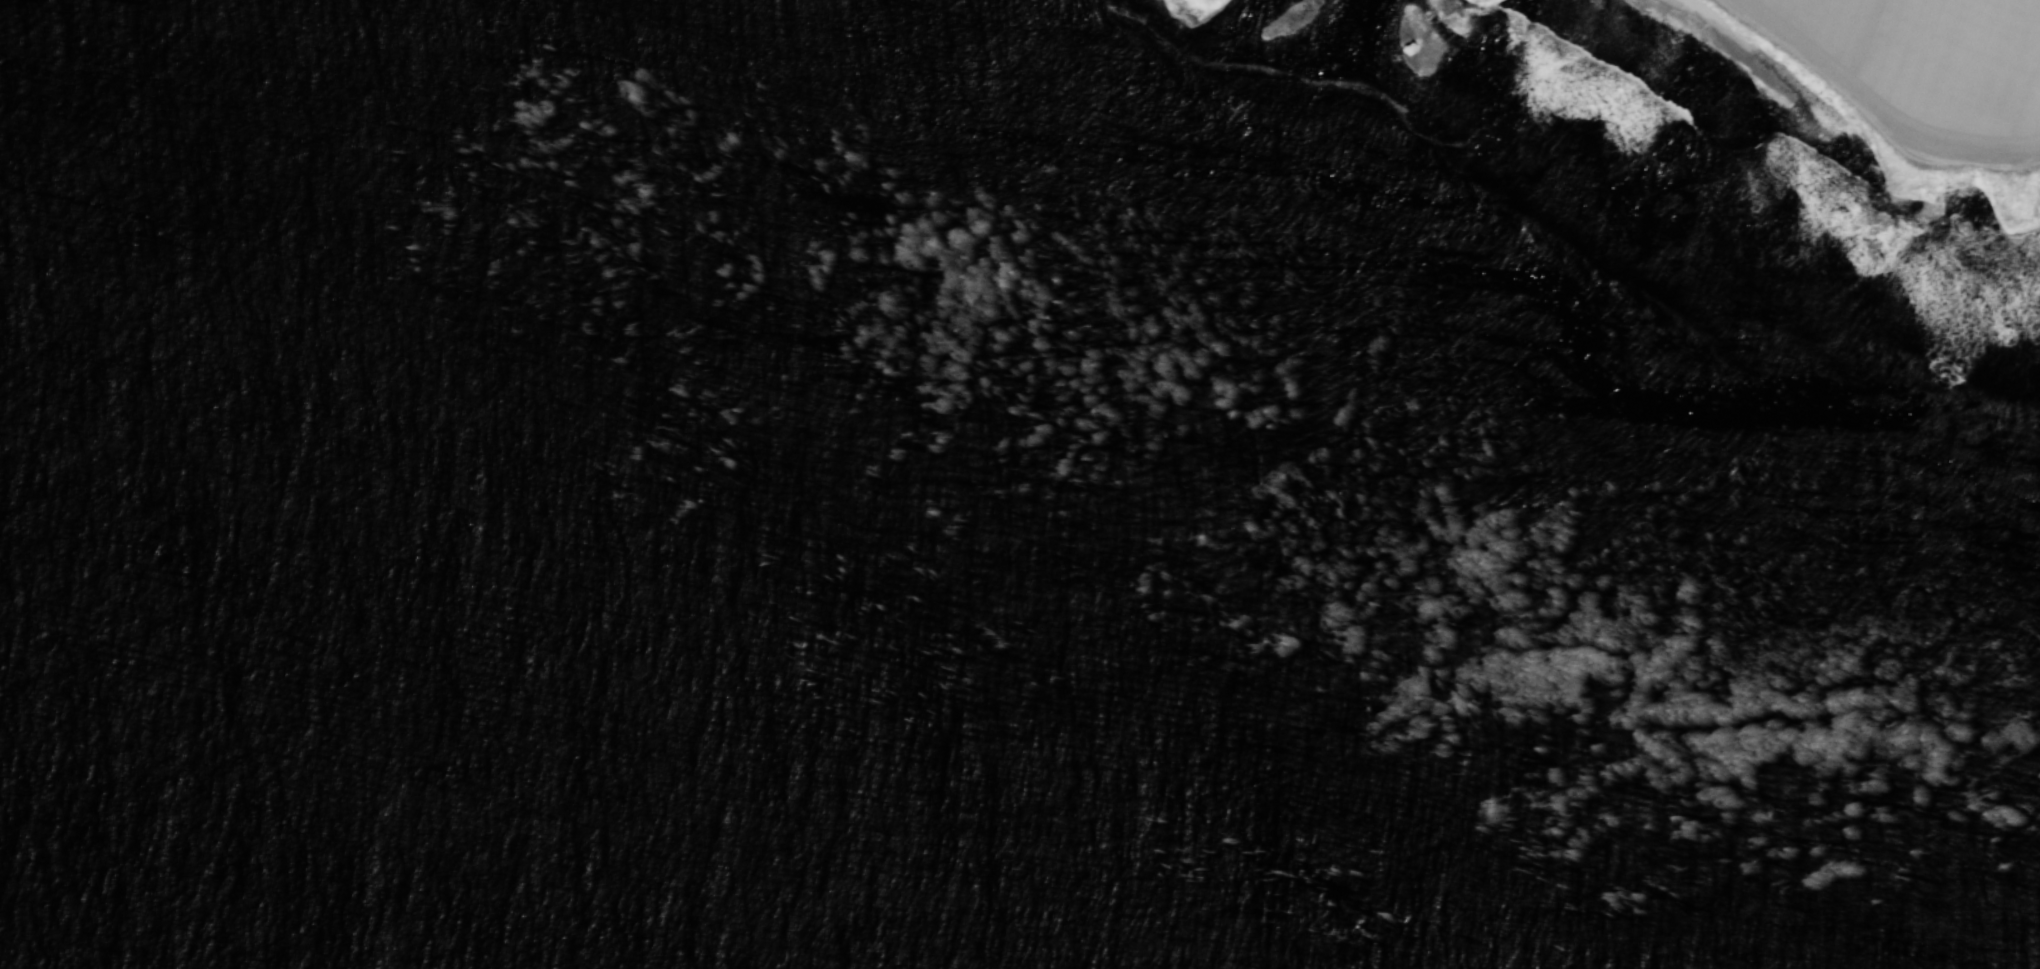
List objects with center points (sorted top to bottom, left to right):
crop: (1882, 77)
road: (1867, 114)

